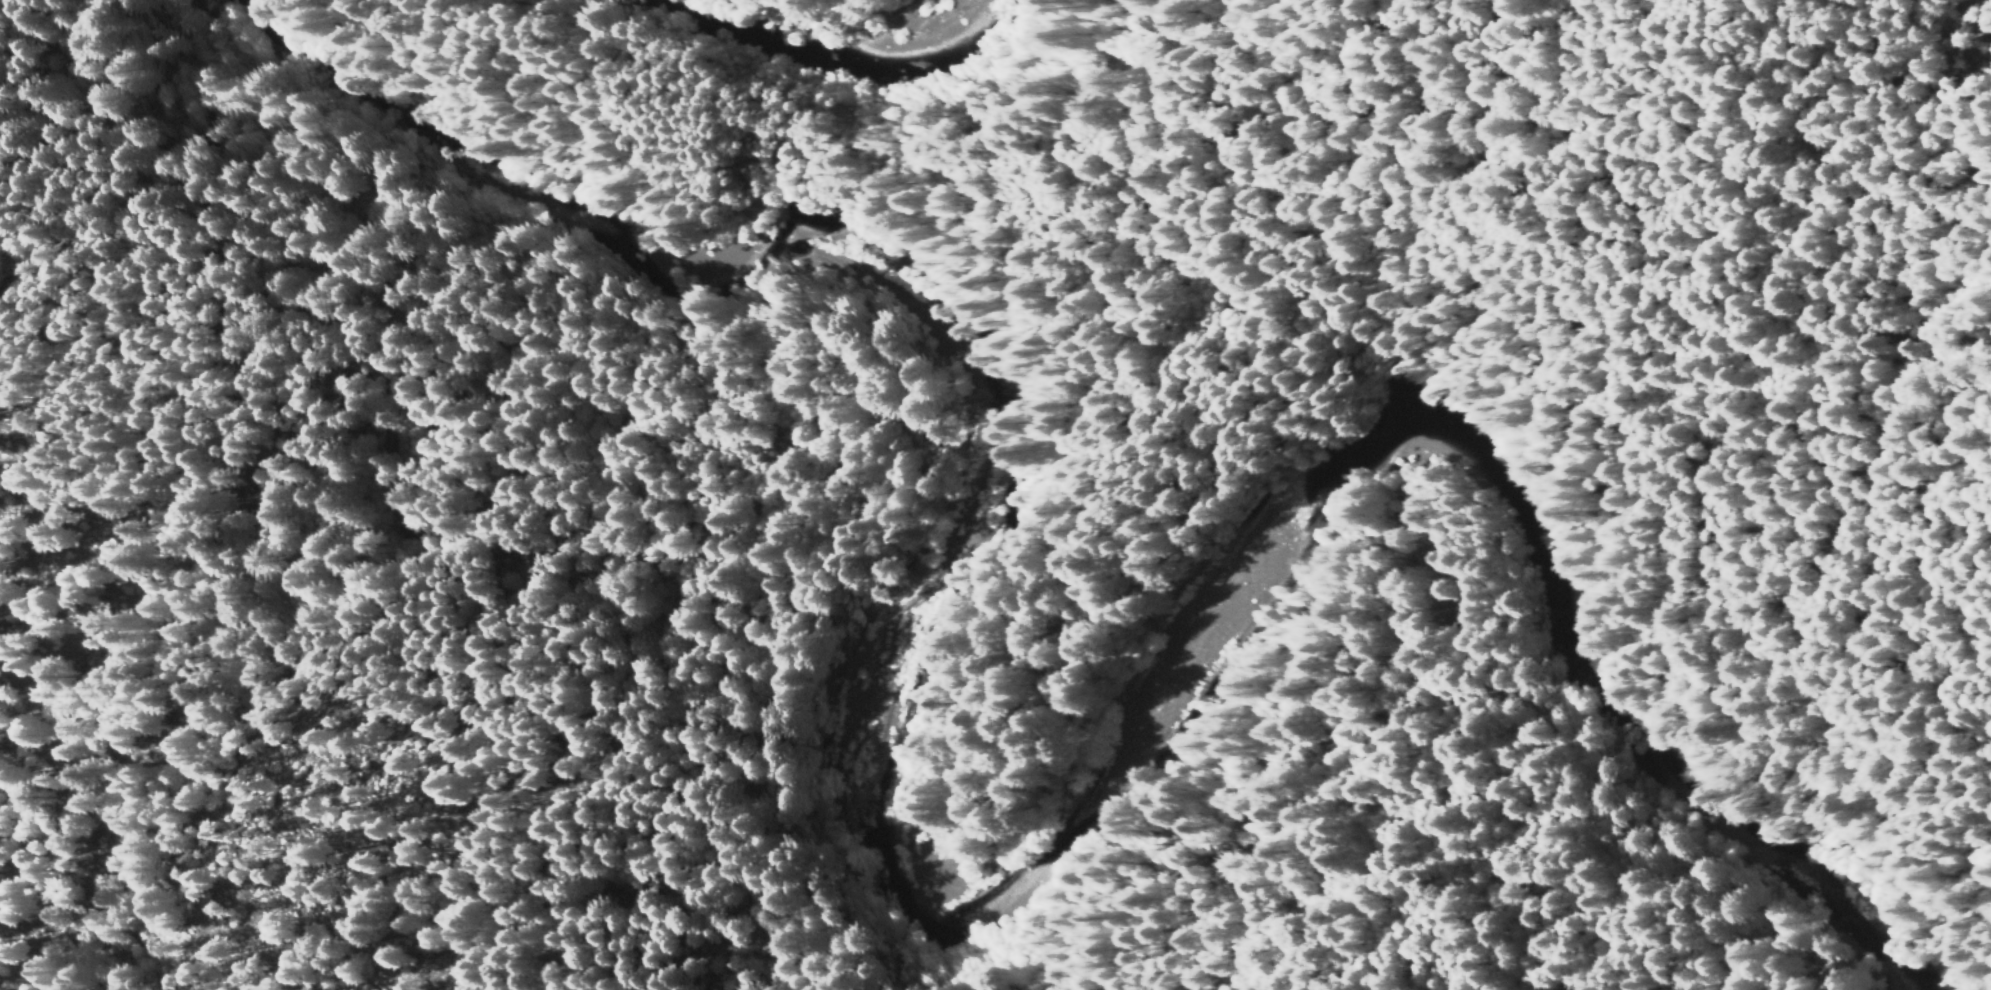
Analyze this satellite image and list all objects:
river: (855, 57)
river: (963, 951)

